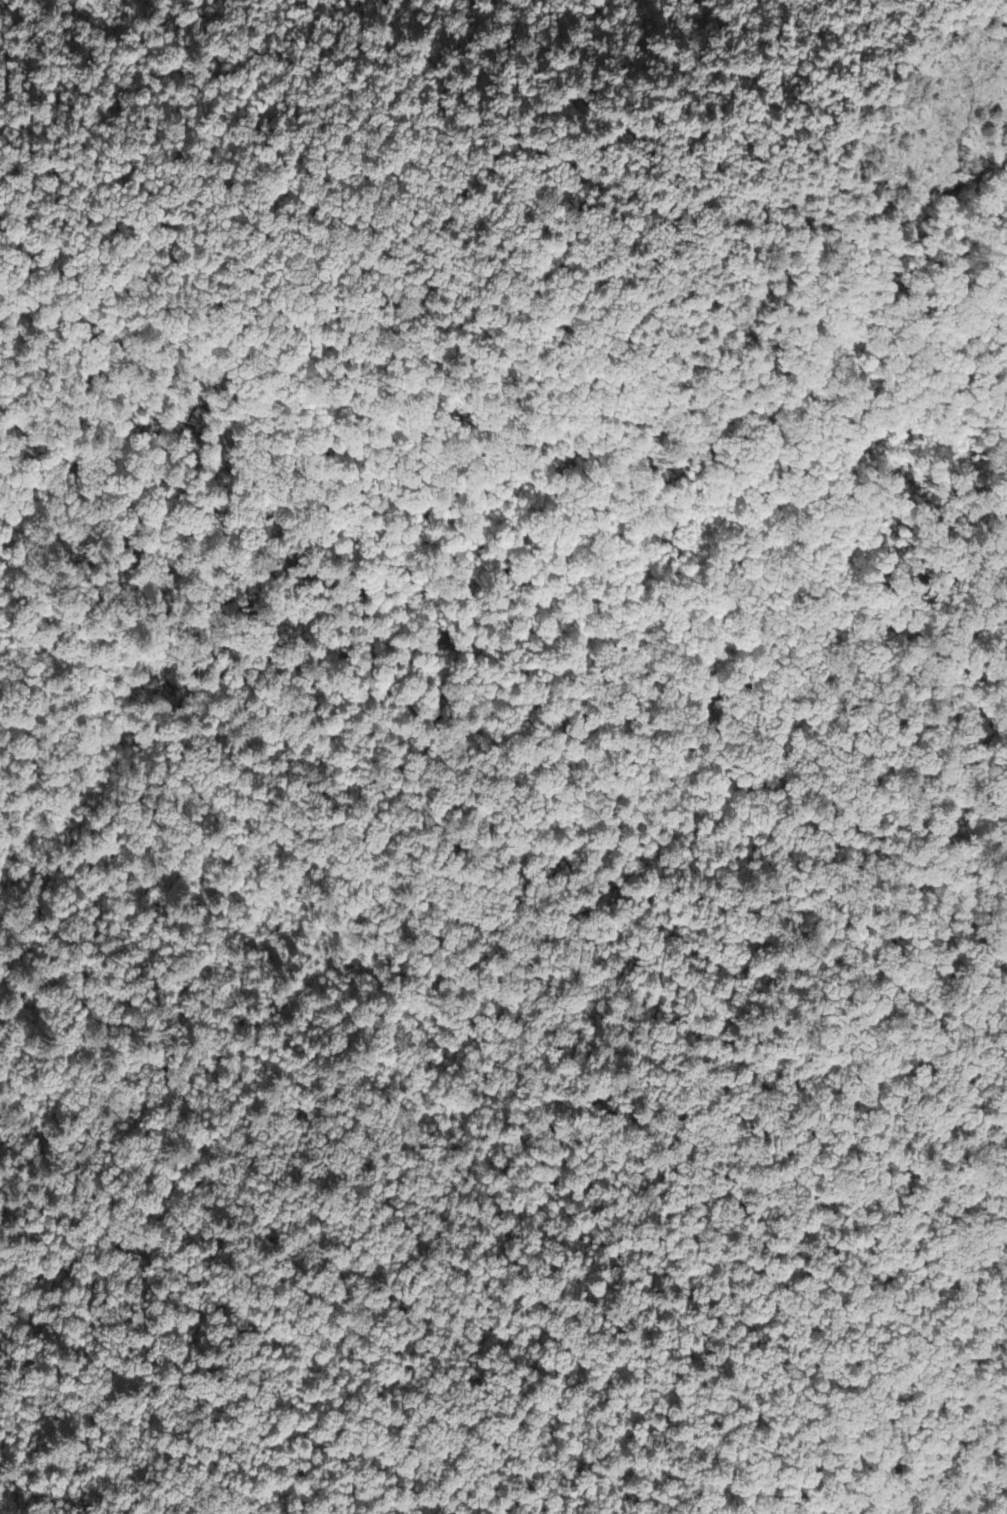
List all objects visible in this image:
road: (749, 1345)

